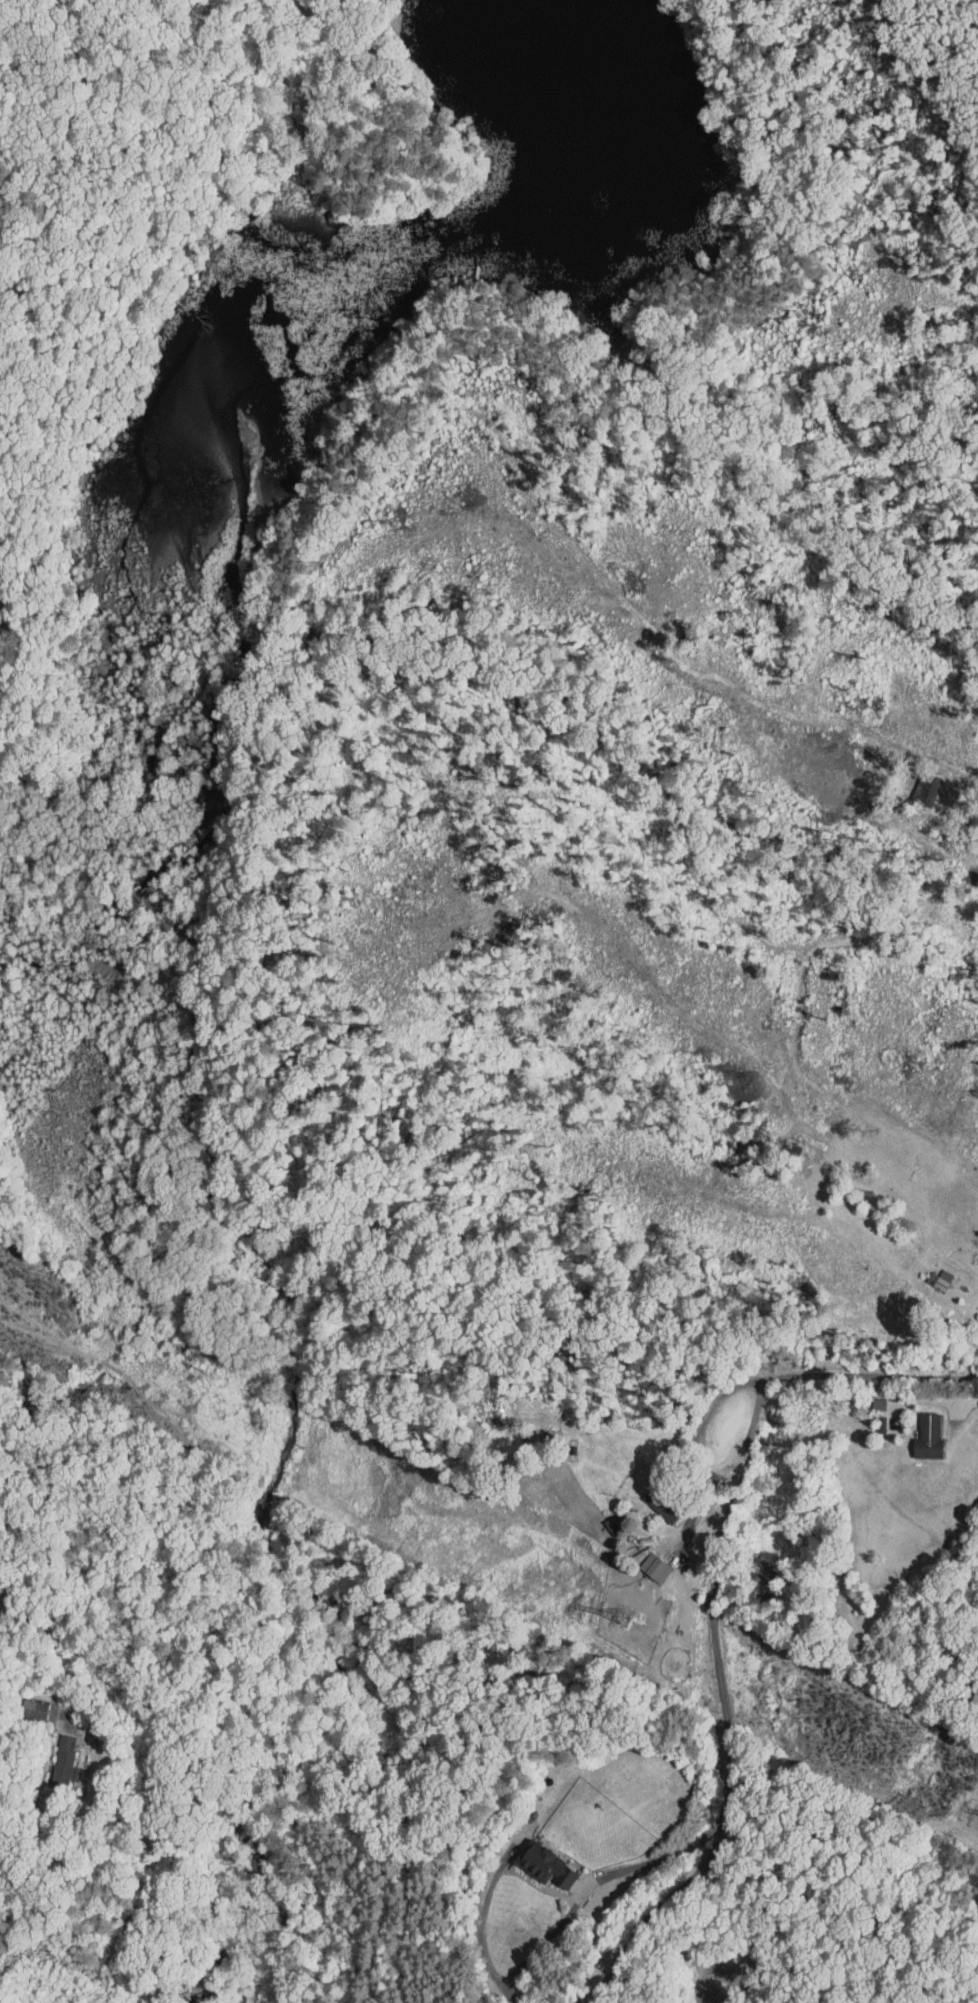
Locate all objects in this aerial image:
building: (915, 783)
building: (975, 1308)
road: (873, 1374)
road: (957, 1403)
building: (916, 1432)
road: (694, 1441)
building: (650, 1498)
building: (643, 1562)
power tower: (627, 1619)
building: (22, 1702)
road: (725, 1709)
building: (52, 1755)
building: (534, 1860)
road: (593, 1885)

